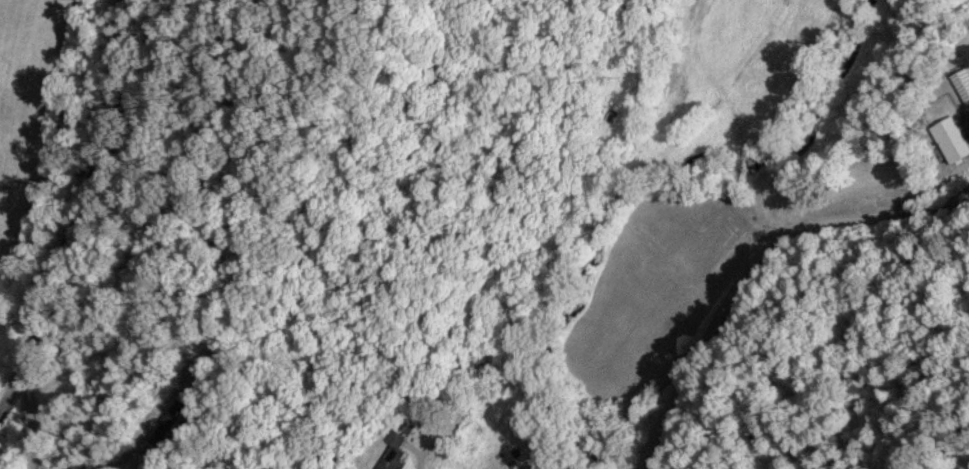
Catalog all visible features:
road: (86, 211)
road: (741, 243)
road: (26, 417)
road: (123, 457)
road: (418, 460)

